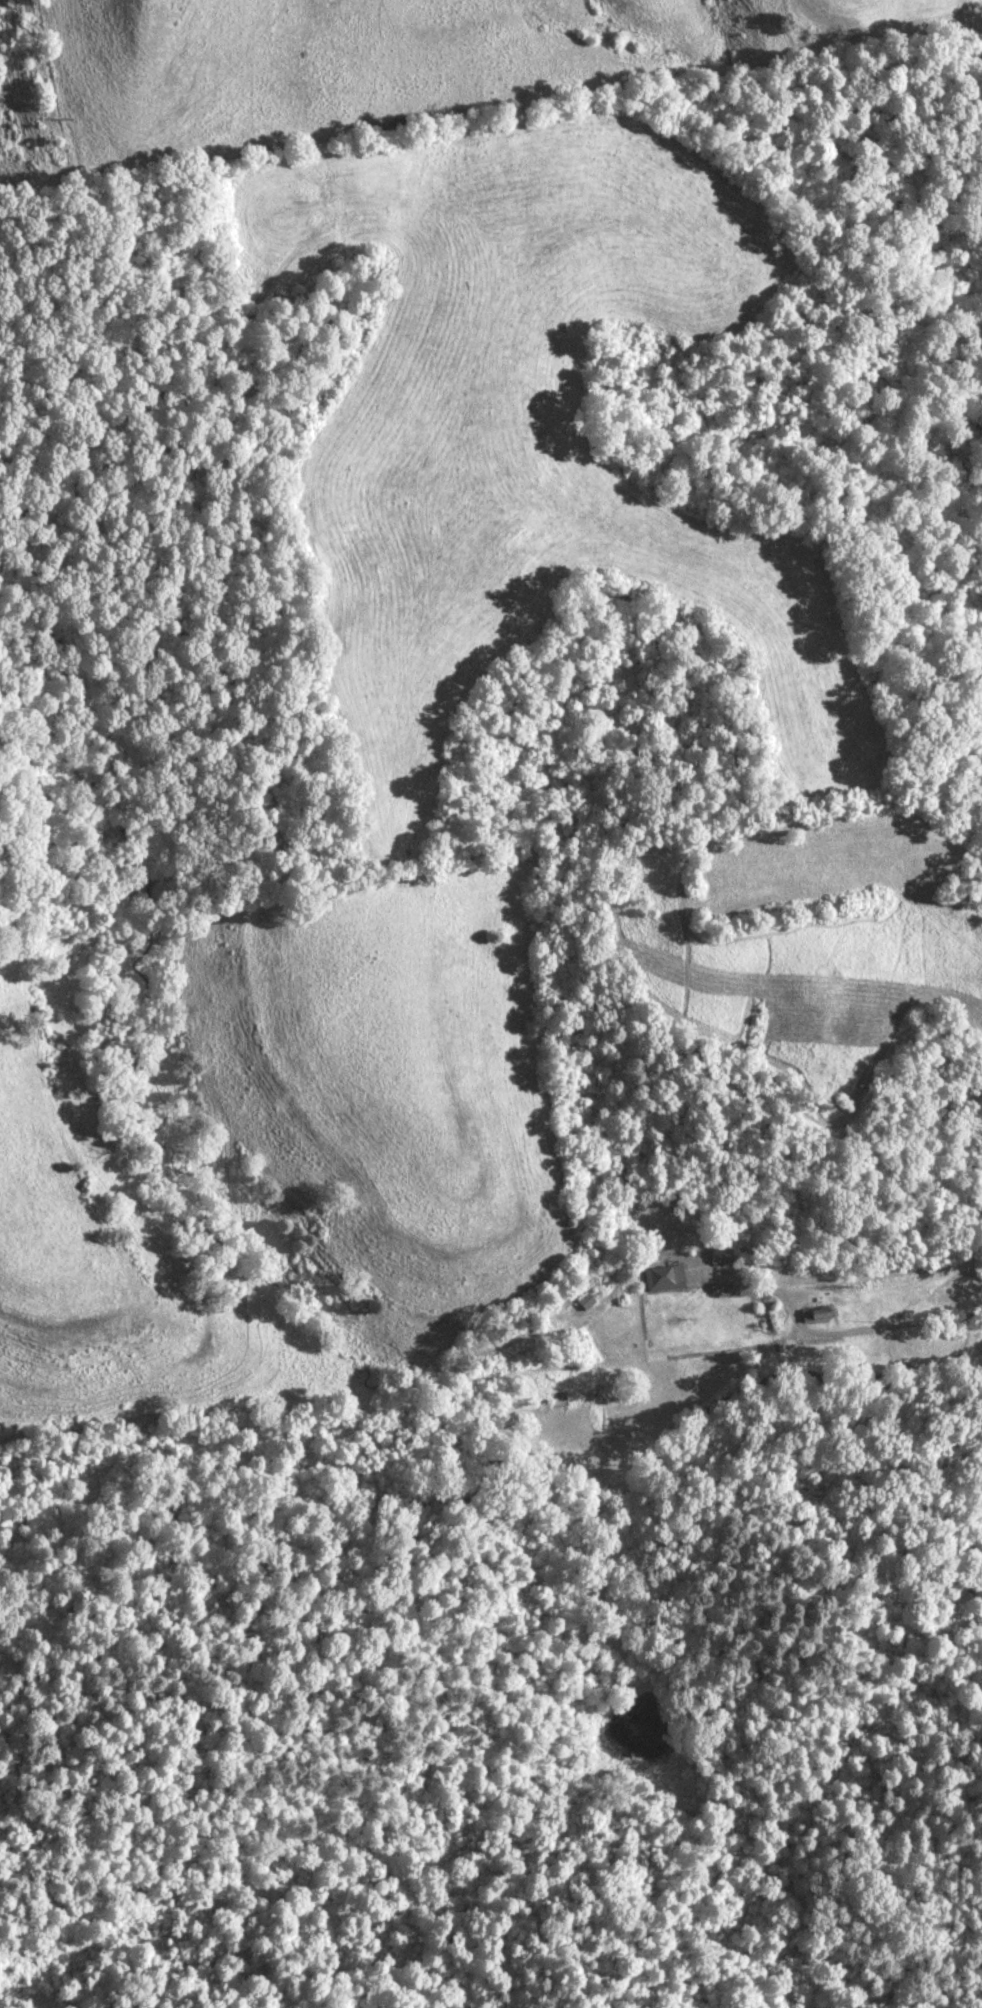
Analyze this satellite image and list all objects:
building: (663, 1196)
building: (721, 1257)
building: (664, 1279)
building: (815, 1316)
road: (782, 1351)
building: (557, 1397)

